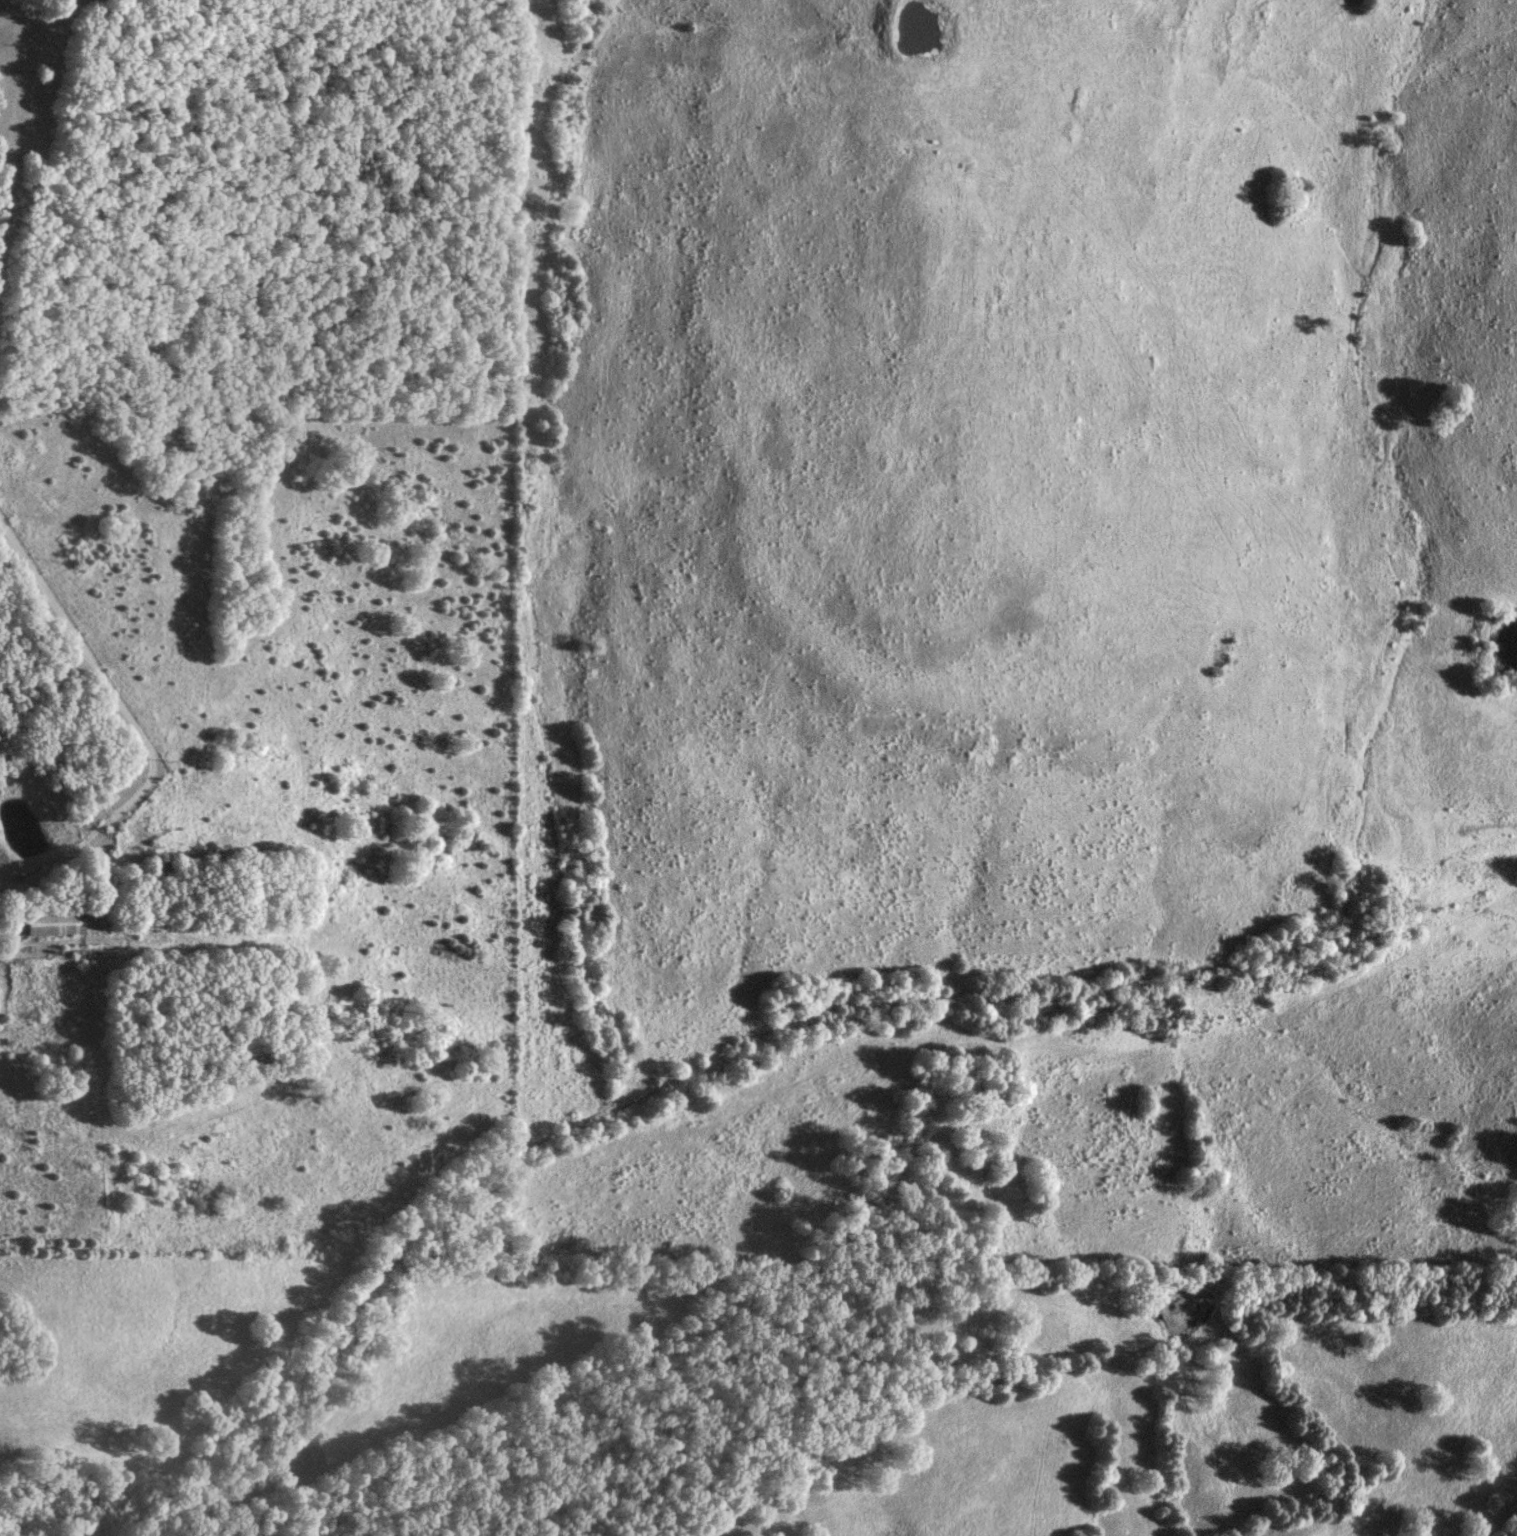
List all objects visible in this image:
building: (52, 924)

